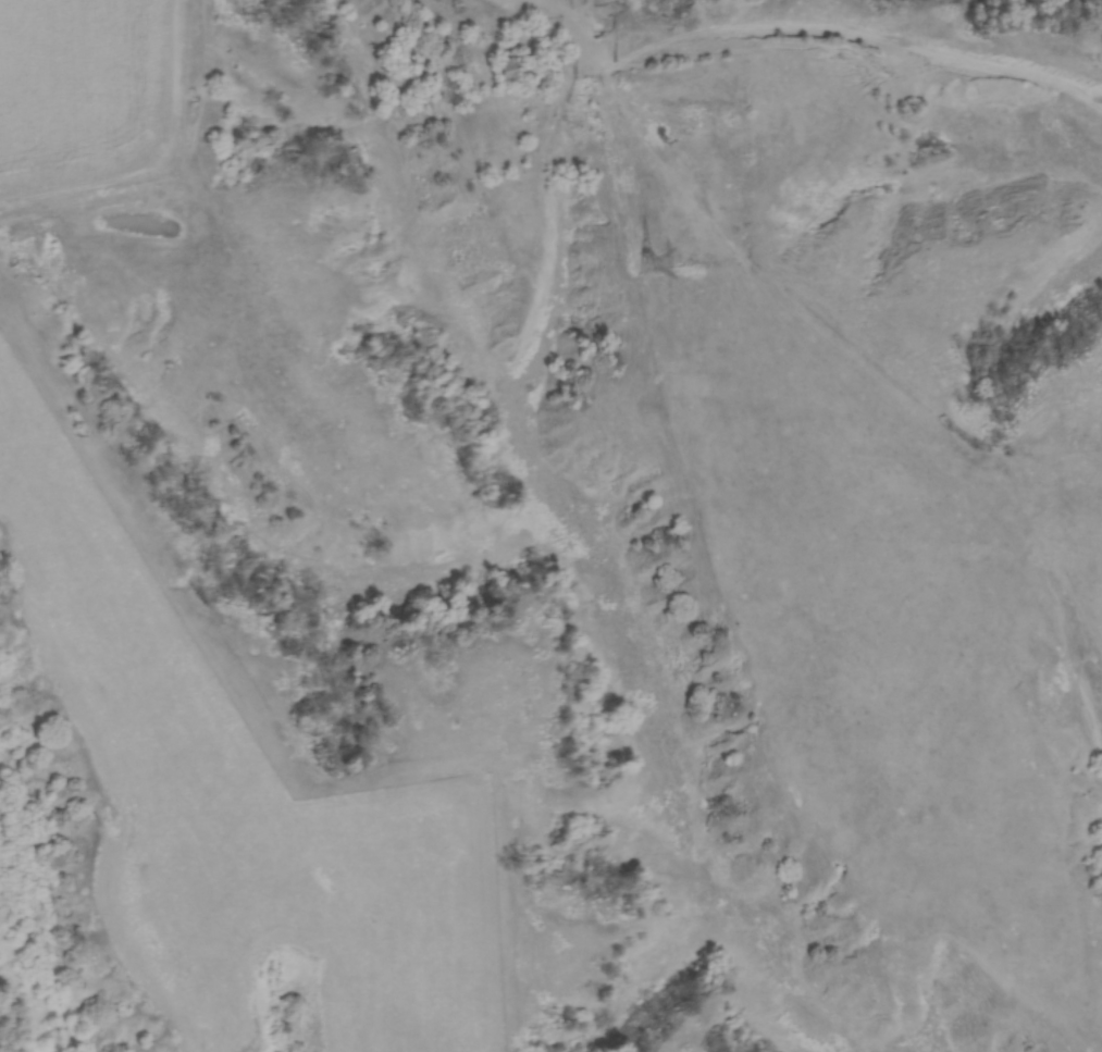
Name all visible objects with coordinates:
building: (497, 71)
power tower: (633, 270)

